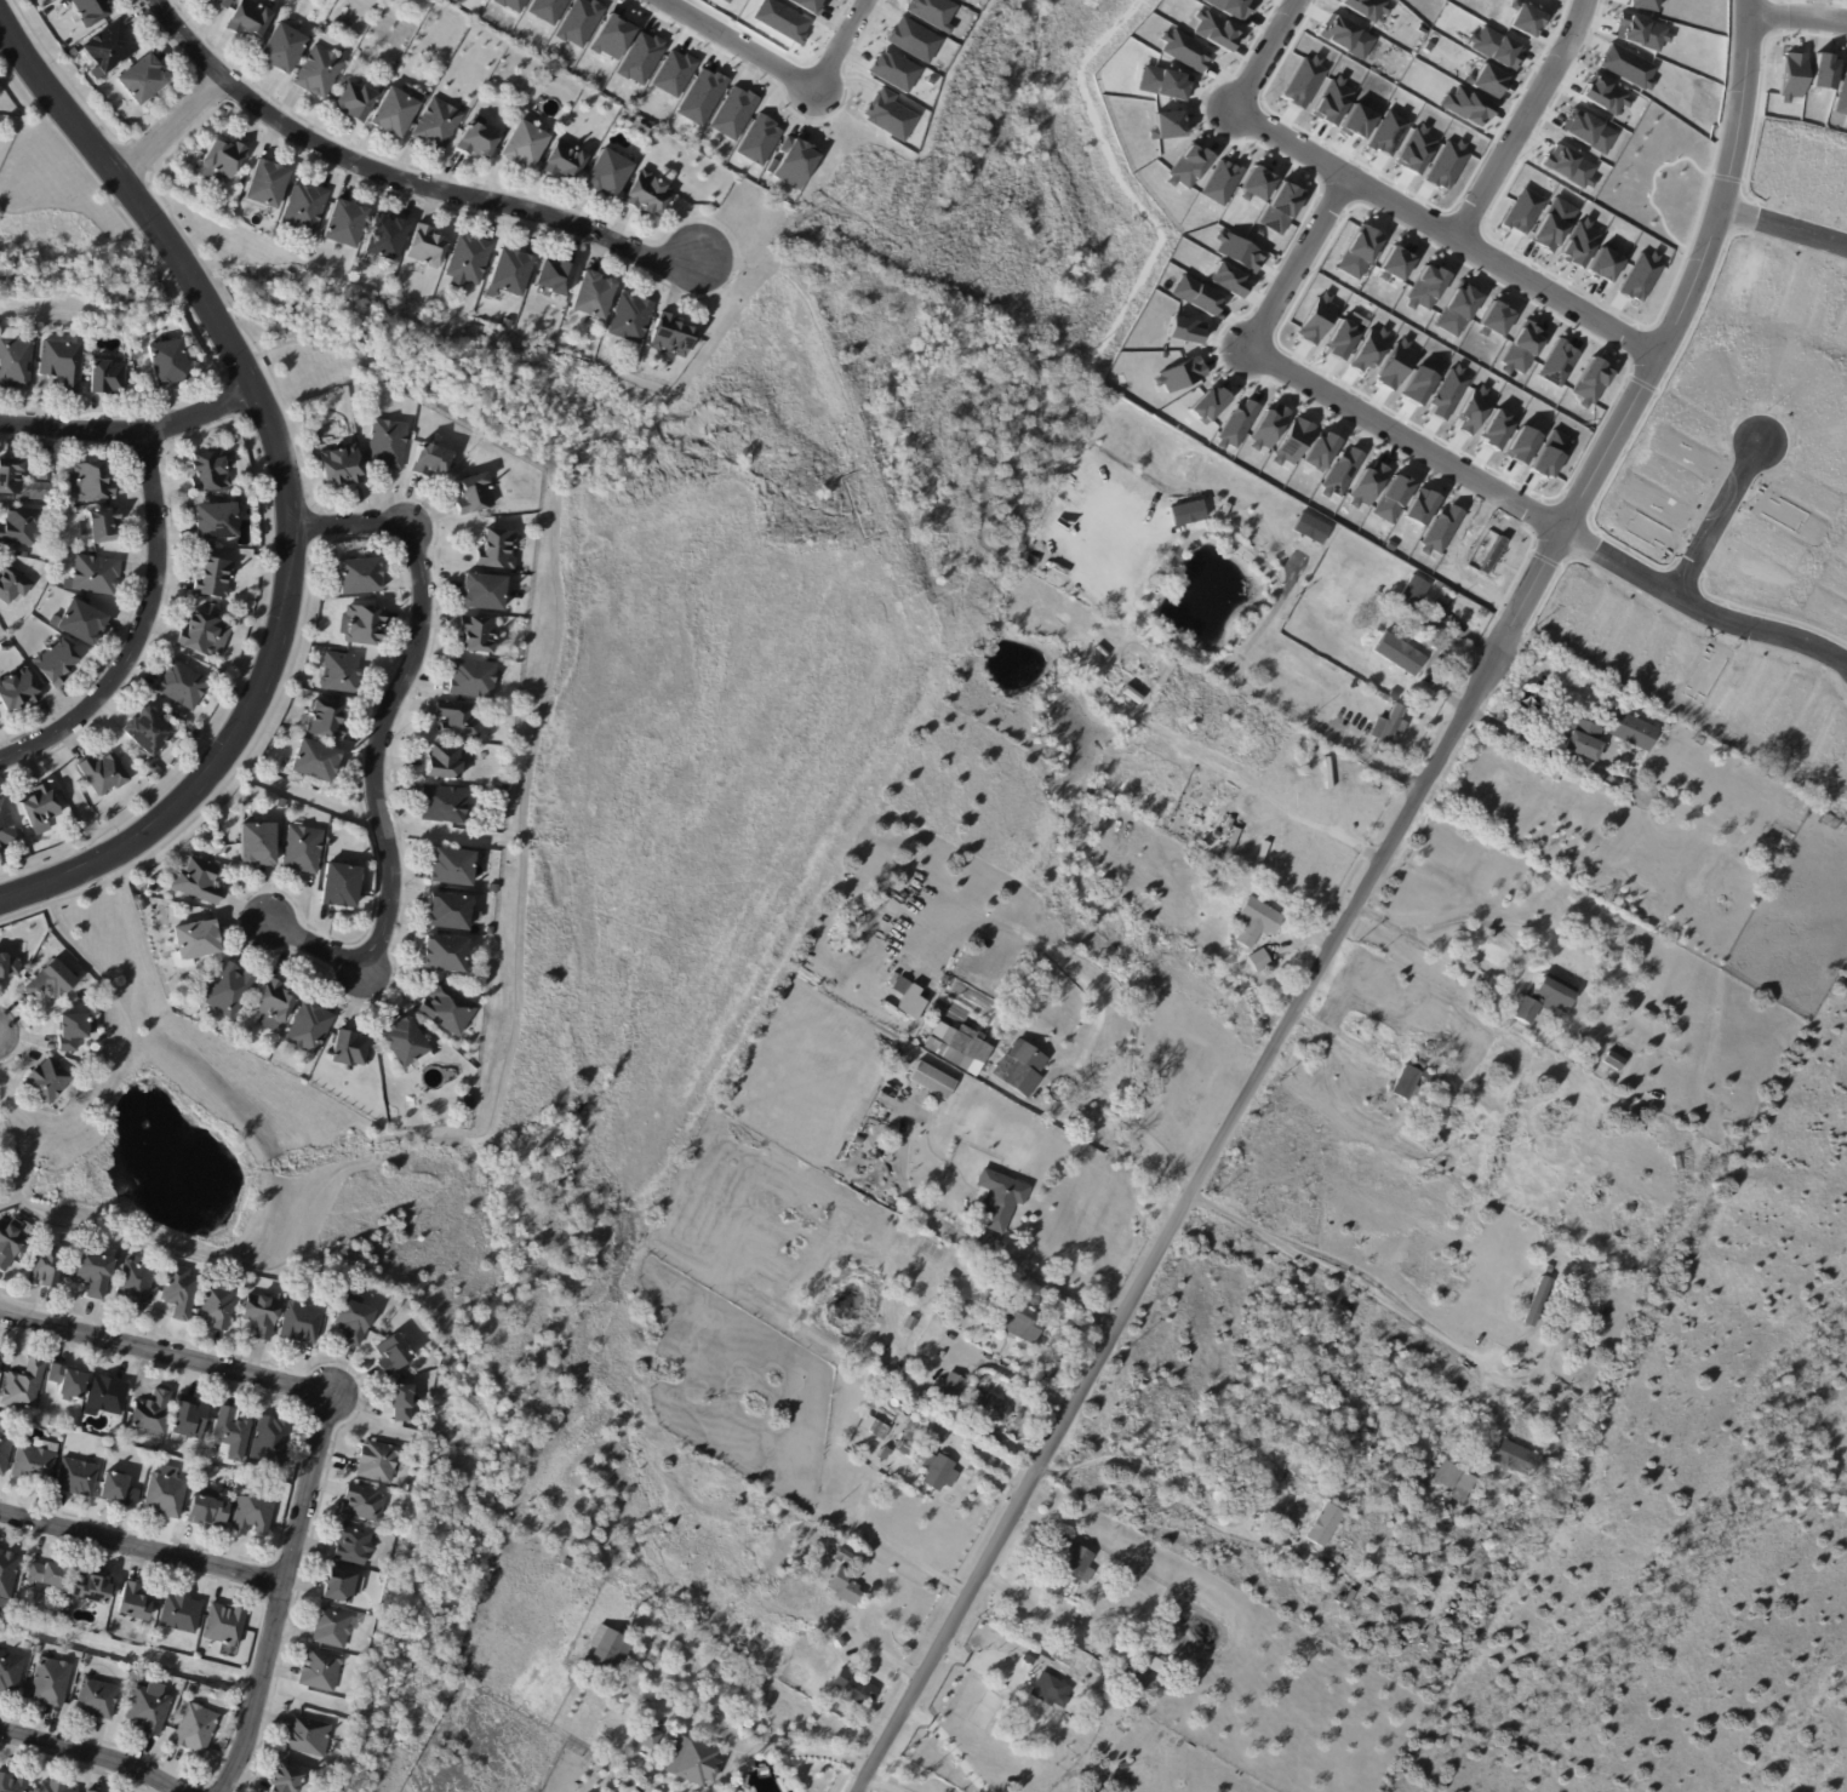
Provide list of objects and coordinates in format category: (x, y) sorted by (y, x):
building: (210, 0)
building: (960, 0)
building: (725, 1)
building: (224, 4)
building: (510, 4)
building: (807, 5)
building: (1645, 5)
building: (1230, 6)
building: (544, 8)
building: (1368, 8)
road: (1801, 11)
building: (92, 12)
building: (931, 12)
building: (47, 15)
building: (251, 19)
building: (780, 19)
building: (1523, 19)
building: (577, 22)
building: (326, 30)
building: (1214, 30)
building: (1643, 33)
building: (610, 35)
building: (1346, 36)
building: (913, 39)
road: (837, 44)
road: (737, 45)
building: (65, 46)
building: (1493, 47)
building: (111, 50)
building: (285, 50)
building: (1184, 50)
building: (74, 55)
road: (1263, 56)
building: (640, 57)
building: (1626, 65)
building: (893, 69)
building: (322, 73)
building: (671, 73)
building: (1825, 73)
building: (1792, 76)
building: (143, 80)
building: (930, 80)
building: (1304, 80)
building: (1485, 80)
building: (1163, 81)
building: (1842, 91)
building: (699, 96)
building: (1605, 98)
building: (1333, 101)
building: (358, 103)
building: (153, 104)
building: (1465, 105)
building: (732, 111)
building: (395, 114)
building: (888, 114)
road: (1526, 116)
building: (1360, 120)
building: (1171, 124)
building: (440, 125)
building: (642, 128)
building: (1390, 132)
building: (1589, 132)
road: (166, 134)
building: (757, 139)
building: (479, 142)
building: (525, 147)
building: (1417, 149)
building: (222, 158)
building: (568, 164)
building: (793, 164)
building: (1189, 164)
building: (1447, 165)
building: (1568, 165)
building: (611, 178)
building: (1219, 182)
building: (1258, 183)
building: (268, 184)
park: (1012, 184)
road: (394, 191)
building: (650, 195)
building: (307, 207)
building: (1281, 207)
building: (1525, 210)
road: (1788, 213)
building: (348, 223)
building: (1552, 223)
road: (1453, 225)
building: (390, 239)
building: (1580, 242)
building: (429, 246)
building: (1239, 251)
building: (309, 252)
building: (1359, 254)
building: (469, 262)
road: (1299, 262)
building: (1394, 262)
building: (1606, 264)
building: (510, 274)
building: (1642, 275)
building: (555, 276)
building: (1228, 279)
building: (1425, 286)
building: (1194, 293)
building: (595, 296)
building: (1457, 309)
building: (633, 317)
building: (1496, 320)
building: (1316, 322)
building: (509, 324)
building: (1185, 328)
building: (674, 333)
building: (1342, 340)
building: (1523, 350)
building: (1369, 353)
building: (15, 359)
building: (172, 362)
building: (1559, 362)
building: (63, 363)
building: (1396, 363)
building: (1183, 373)
building: (107, 377)
building: (1592, 380)
building: (1419, 384)
building: (1448, 393)
building: (1207, 401)
building: (1475, 407)
building: (310, 419)
building: (1237, 423)
road: (196, 425)
building: (1269, 425)
building: (1498, 428)
building: (1294, 440)
building: (390, 443)
building: (1522, 443)
road: (67, 445)
building: (1321, 451)
building: (57, 453)
building: (1686, 453)
building: (1550, 454)
building: (431, 459)
building: (343, 465)
building: (46, 468)
building: (1343, 470)
building: (211, 473)
building: (1670, 475)
building: (12, 476)
building: (92, 482)
road: (282, 485)
building: (1368, 485)
building: (475, 496)
building: (1393, 498)
building: (1656, 499)
building: (1296, 504)
building: (1420, 506)
building: (1188, 508)
road: (1542, 511)
road: (1722, 511)
building: (219, 521)
building: (1316, 525)
building: (104, 526)
building: (1442, 526)
building: (22, 527)
building: (1651, 529)
building: (1036, 542)
building: (496, 550)
building: (25, 555)
building: (62, 557)
building: (95, 576)
building: (362, 577)
building: (215, 579)
building: (12, 585)
building: (485, 592)
building: (1409, 592)
building: (21, 608)
building: (81, 620)
building: (365, 625)
building: (479, 634)
building: (206, 635)
road: (135, 637)
building: (1395, 654)
building: (58, 663)
building: (343, 674)
building: (1241, 674)
building: (475, 680)
building: (183, 686)
building: (18, 691)
road: (1281, 711)
building: (184, 716)
building: (461, 720)
building: (327, 721)
building: (1385, 731)
building: (490, 732)
building: (1630, 732)
building: (154, 737)
building: (191, 739)
building: (1580, 740)
building: (316, 761)
building: (448, 763)
building: (162, 765)
road: (367, 767)
building: (156, 771)
building: (104, 774)
building: (1316, 774)
building: (1768, 784)
building: (507, 785)
building: (282, 803)
building: (446, 805)
building: (41, 811)
building: (1841, 828)
building: (6, 830)
building: (259, 843)
building: (305, 849)
building: (24, 852)
building: (457, 869)
building: (200, 882)
building: (343, 887)
building: (496, 889)
building: (141, 905)
building: (450, 911)
road: (1355, 912)
building: (1252, 922)
building: (490, 932)
building: (199, 940)
road: (1429, 947)
building: (446, 954)
building: (1258, 961)
building: (8, 966)
building: (53, 980)
building: (229, 991)
building: (1543, 996)
building: (276, 1006)
building: (448, 1009)
building: (1648, 1015)
building: (310, 1030)
building: (74, 1031)
building: (1007, 1031)
building: (405, 1043)
building: (957, 1047)
building: (350, 1050)
building: (882, 1058)
building: (1611, 1060)
building: (1417, 1065)
building: (1016, 1070)
building: (48, 1081)
building: (931, 1082)
building: (1405, 1084)
building: (468, 1101)
road: (494, 1103)
building: (1447, 1107)
road: (19, 1113)
building: (1434, 1127)
road: (1150, 1139)
road: (8, 1198)
building: (999, 1201)
building: (12, 1243)
road: (974, 1247)
building: (46, 1266)
building: (97, 1271)
road: (1344, 1281)
building: (137, 1282)
building: (182, 1290)
building: (1534, 1303)
building: (218, 1305)
building: (198, 1312)
building: (262, 1315)
building: (959, 1317)
building: (356, 1319)
building: (1012, 1321)
building: (303, 1322)
building: (907, 1323)
building: (395, 1355)
road: (1356, 1366)
road: (1017, 1376)
building: (911, 1380)
building: (68, 1382)
building: (25, 1385)
building: (948, 1390)
building: (108, 1395)
building: (406, 1401)
building: (988, 1407)
building: (155, 1412)
building: (190, 1419)
building: (874, 1429)
building: (234, 1433)
building: (57, 1435)
building: (933, 1435)
road: (315, 1436)
building: (908, 1436)
building: (273, 1441)
building: (5, 1450)
building: (1454, 1454)
building: (200, 1458)
building: (1509, 1458)
building: (36, 1461)
building: (379, 1461)
building: (993, 1464)
building: (190, 1467)
building: (1293, 1468)
building: (936, 1473)
building: (78, 1477)
building: (1441, 1478)
road: (1166, 1488)
building: (121, 1490)
building: (1458, 1490)
building: (167, 1493)
building: (366, 1504)
building: (962, 1504)
building: (211, 1510)
building: (1357, 1510)
building: (255, 1511)
building: (1322, 1527)
building: (355, 1545)
road: (141, 1546)
road: (898, 1553)
building: (842, 1557)
building: (1070, 1561)
building: (51, 1574)
building: (7, 1576)
building: (341, 1586)
building: (91, 1588)
building: (841, 1588)
building: (135, 1603)
building: (183, 1614)
building: (227, 1625)
building: (334, 1628)
building: (1132, 1636)
building: (840, 1642)
building: (751, 1643)
building: (604, 1651)
building: (1074, 1660)
building: (1150, 1664)
building: (322, 1670)
building: (11, 1672)
building: (52, 1681)
building: (1137, 1685)
building: (130, 1688)
building: (851, 1688)
building: (1050, 1689)
building: (98, 1699)
building: (150, 1711)
building: (1085, 1728)
building: (198, 1729)
building: (309, 1736)
building: (644, 1737)
road: (956, 1745)
road: (739, 1750)
road: (91, 1753)
building: (693, 1763)
building: (287, 1780)
building: (15, 1784)
road: (880, 1786)
building: (56, 1787)
building: (87, 1791)

